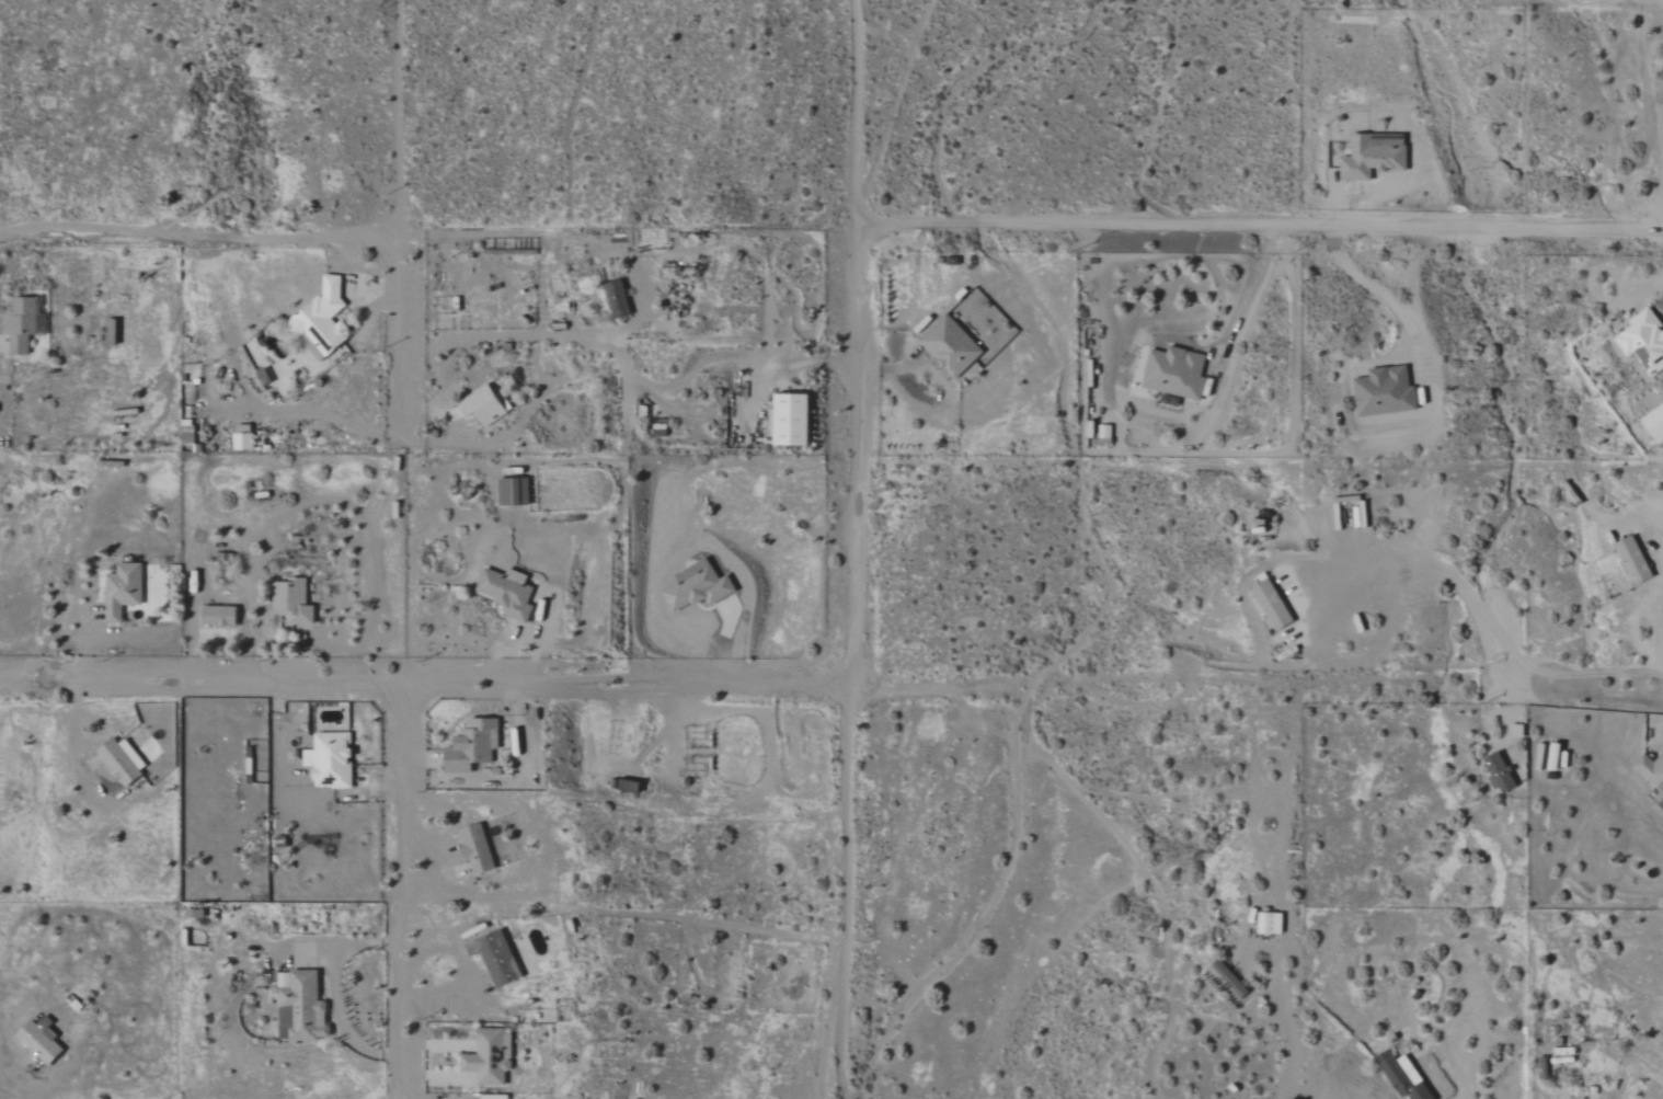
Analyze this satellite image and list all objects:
building: (1374, 158)
road: (1352, 207)
road: (399, 217)
road: (1261, 227)
road: (199, 242)
road: (645, 288)
road: (1255, 289)
road: (1380, 296)
building: (619, 300)
building: (322, 321)
building: (23, 324)
building: (1644, 341)
building: (952, 346)
road: (716, 359)
building: (1177, 374)
building: (1386, 392)
building: (485, 405)
building: (793, 421)
building: (1656, 424)
building: (244, 437)
building: (515, 492)
road: (849, 549)
building: (1636, 561)
road: (1454, 579)
building: (699, 587)
building: (124, 591)
building: (507, 594)
building: (294, 602)
building: (1274, 605)
building: (220, 616)
road: (1578, 673)
road: (1139, 675)
road: (422, 687)
building: (473, 745)
building: (332, 760)
building: (119, 762)
building: (1652, 769)
building: (1501, 772)
building: (478, 849)
road: (397, 892)
road: (621, 912)
building: (1272, 923)
building: (497, 958)
building: (300, 1006)
road: (1285, 1027)
building: (41, 1042)
building: (491, 1056)
building: (1406, 1077)
road: (1358, 1095)

